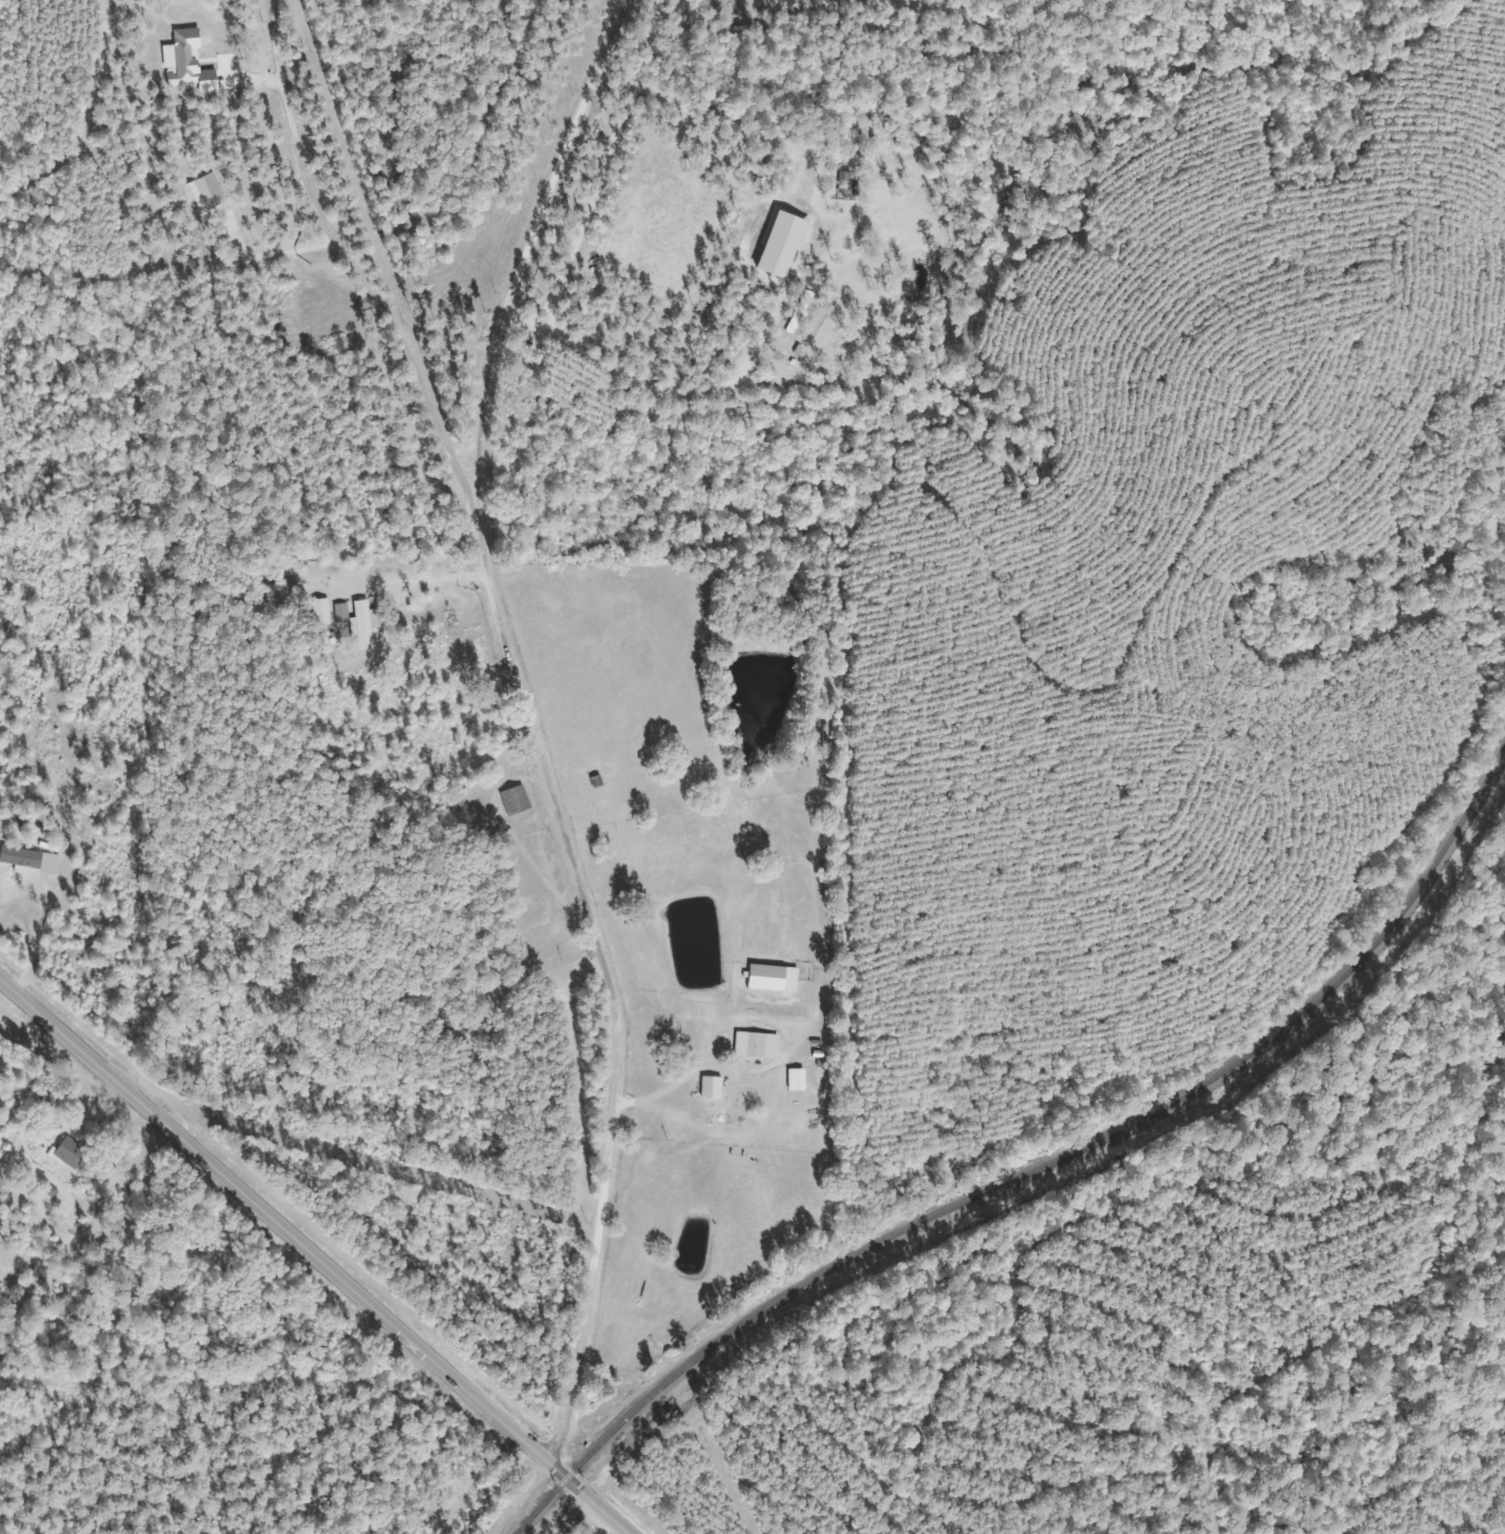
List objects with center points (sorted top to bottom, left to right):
building: (193, 64)
building: (211, 193)
road: (544, 224)
road: (335, 247)
building: (368, 626)
building: (34, 862)
road: (609, 956)
building: (778, 980)
building: (761, 1047)
building: (801, 1082)
building: (72, 1155)
railway: (1040, 1171)
road: (315, 1254)

